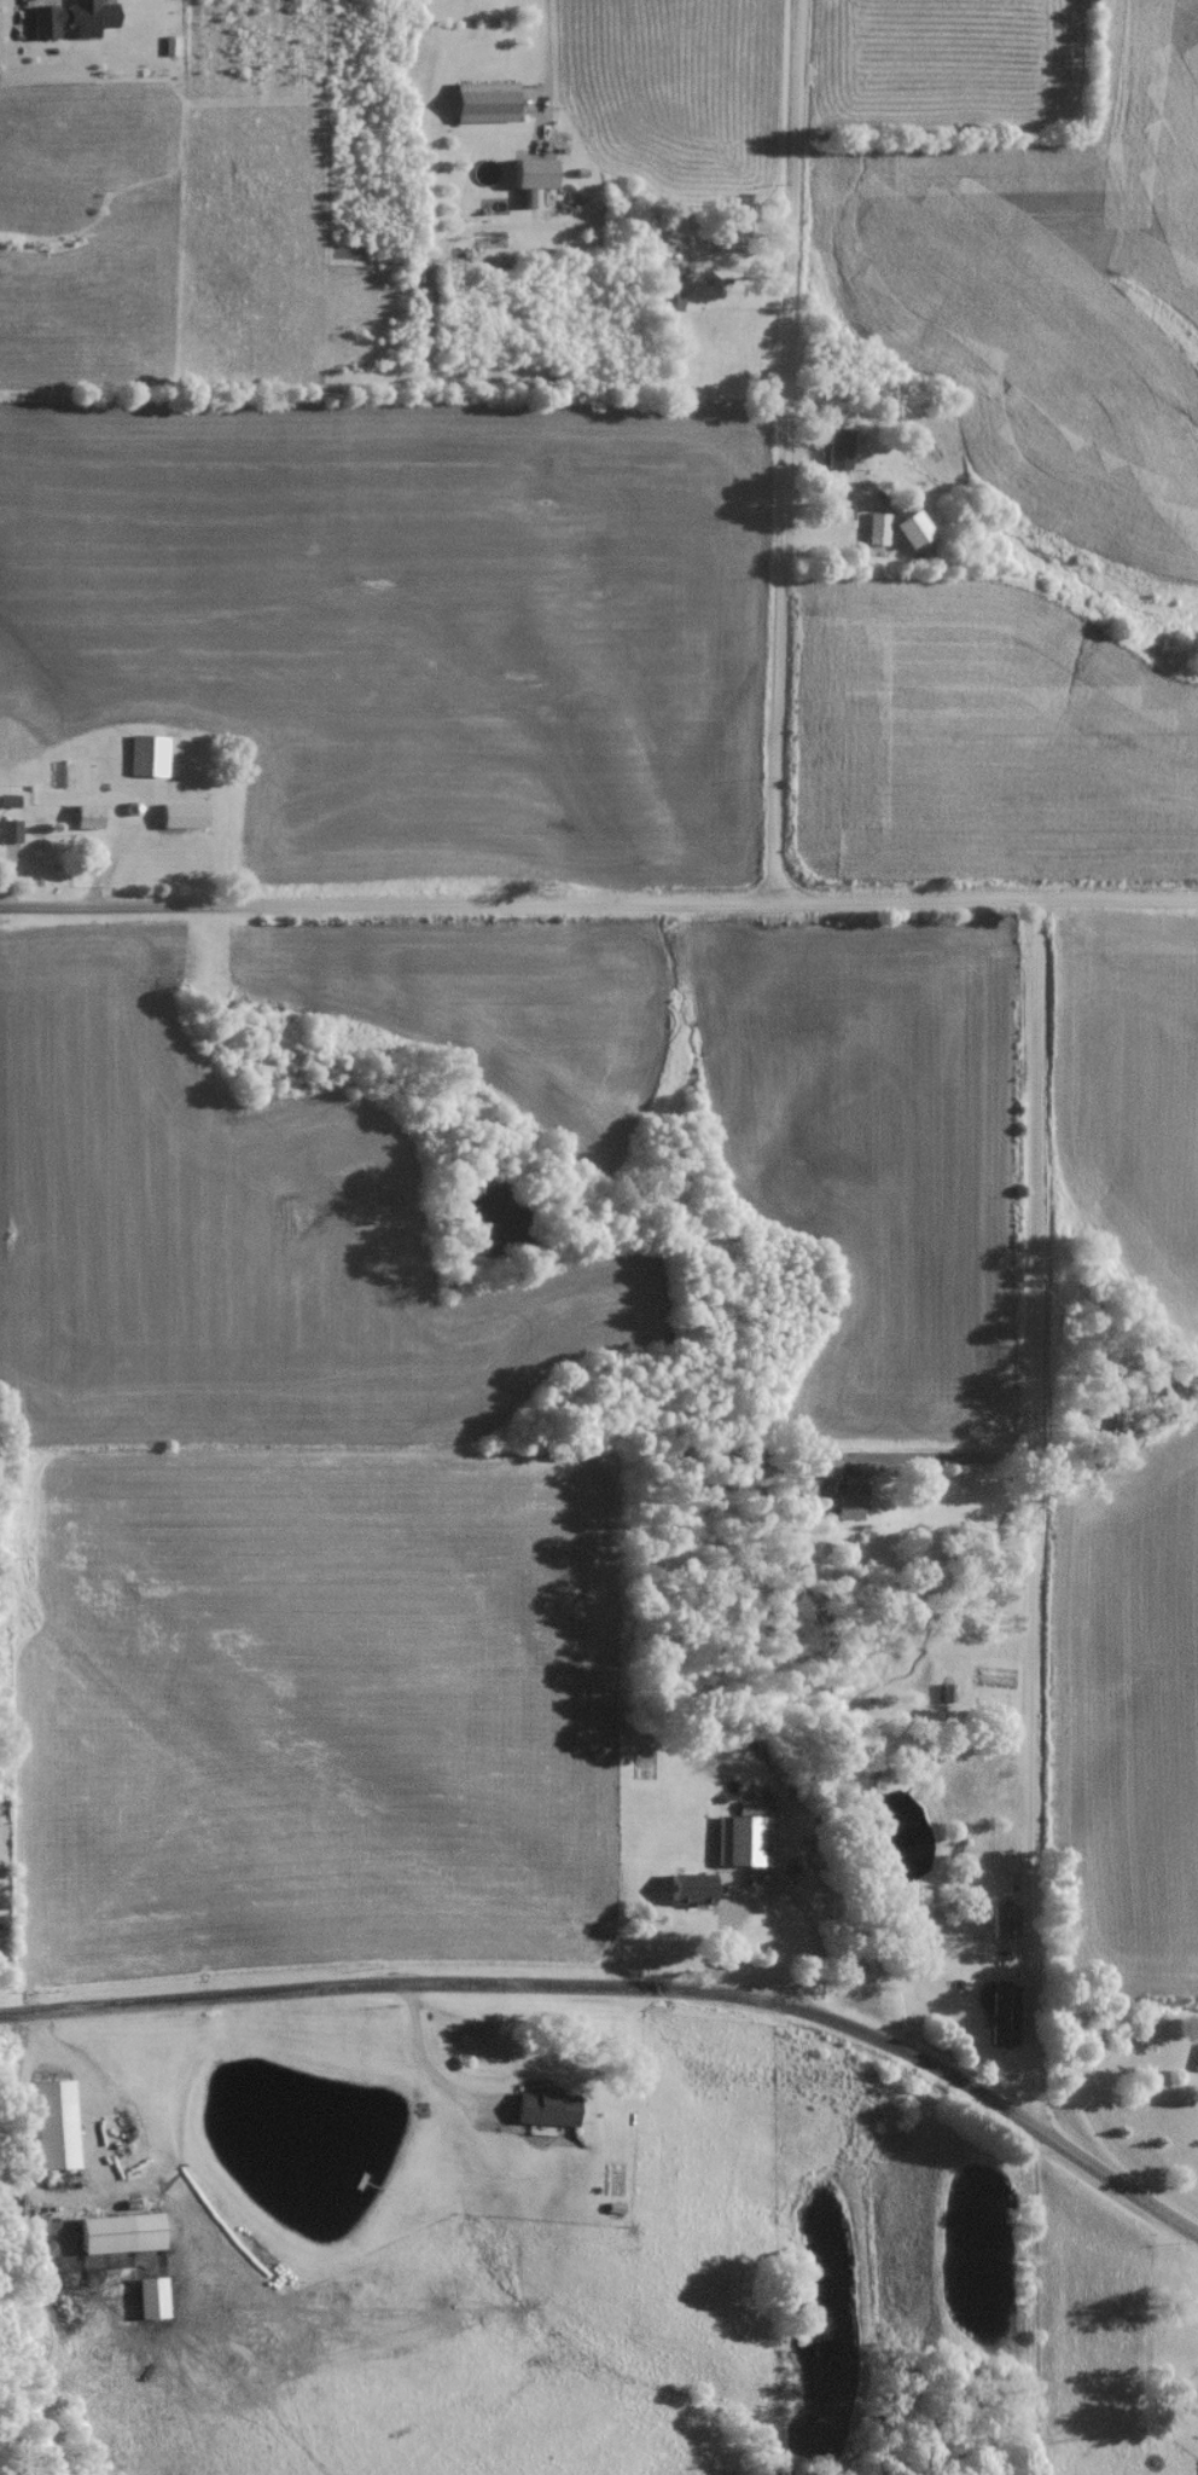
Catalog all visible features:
building: (69, 25)
road: (542, 65)
building: (483, 173)
building: (530, 180)
building: (721, 240)
building: (668, 306)
road: (785, 451)
building: (833, 456)
building: (873, 540)
building: (145, 763)
building: (180, 822)
building: (83, 824)
building: (8, 837)
road: (599, 904)
road: (938, 1450)
building: (822, 1476)
road: (1039, 1507)
building: (946, 1699)
building: (1001, 1775)
building: (722, 1893)
building: (685, 1895)
building: (743, 1895)
building: (1001, 1928)
road: (629, 1984)
building: (1000, 2029)
building: (1196, 2067)
building: (540, 2112)
building: (47, 2132)
building: (101, 2241)
road: (1030, 2297)
building: (1174, 2346)

